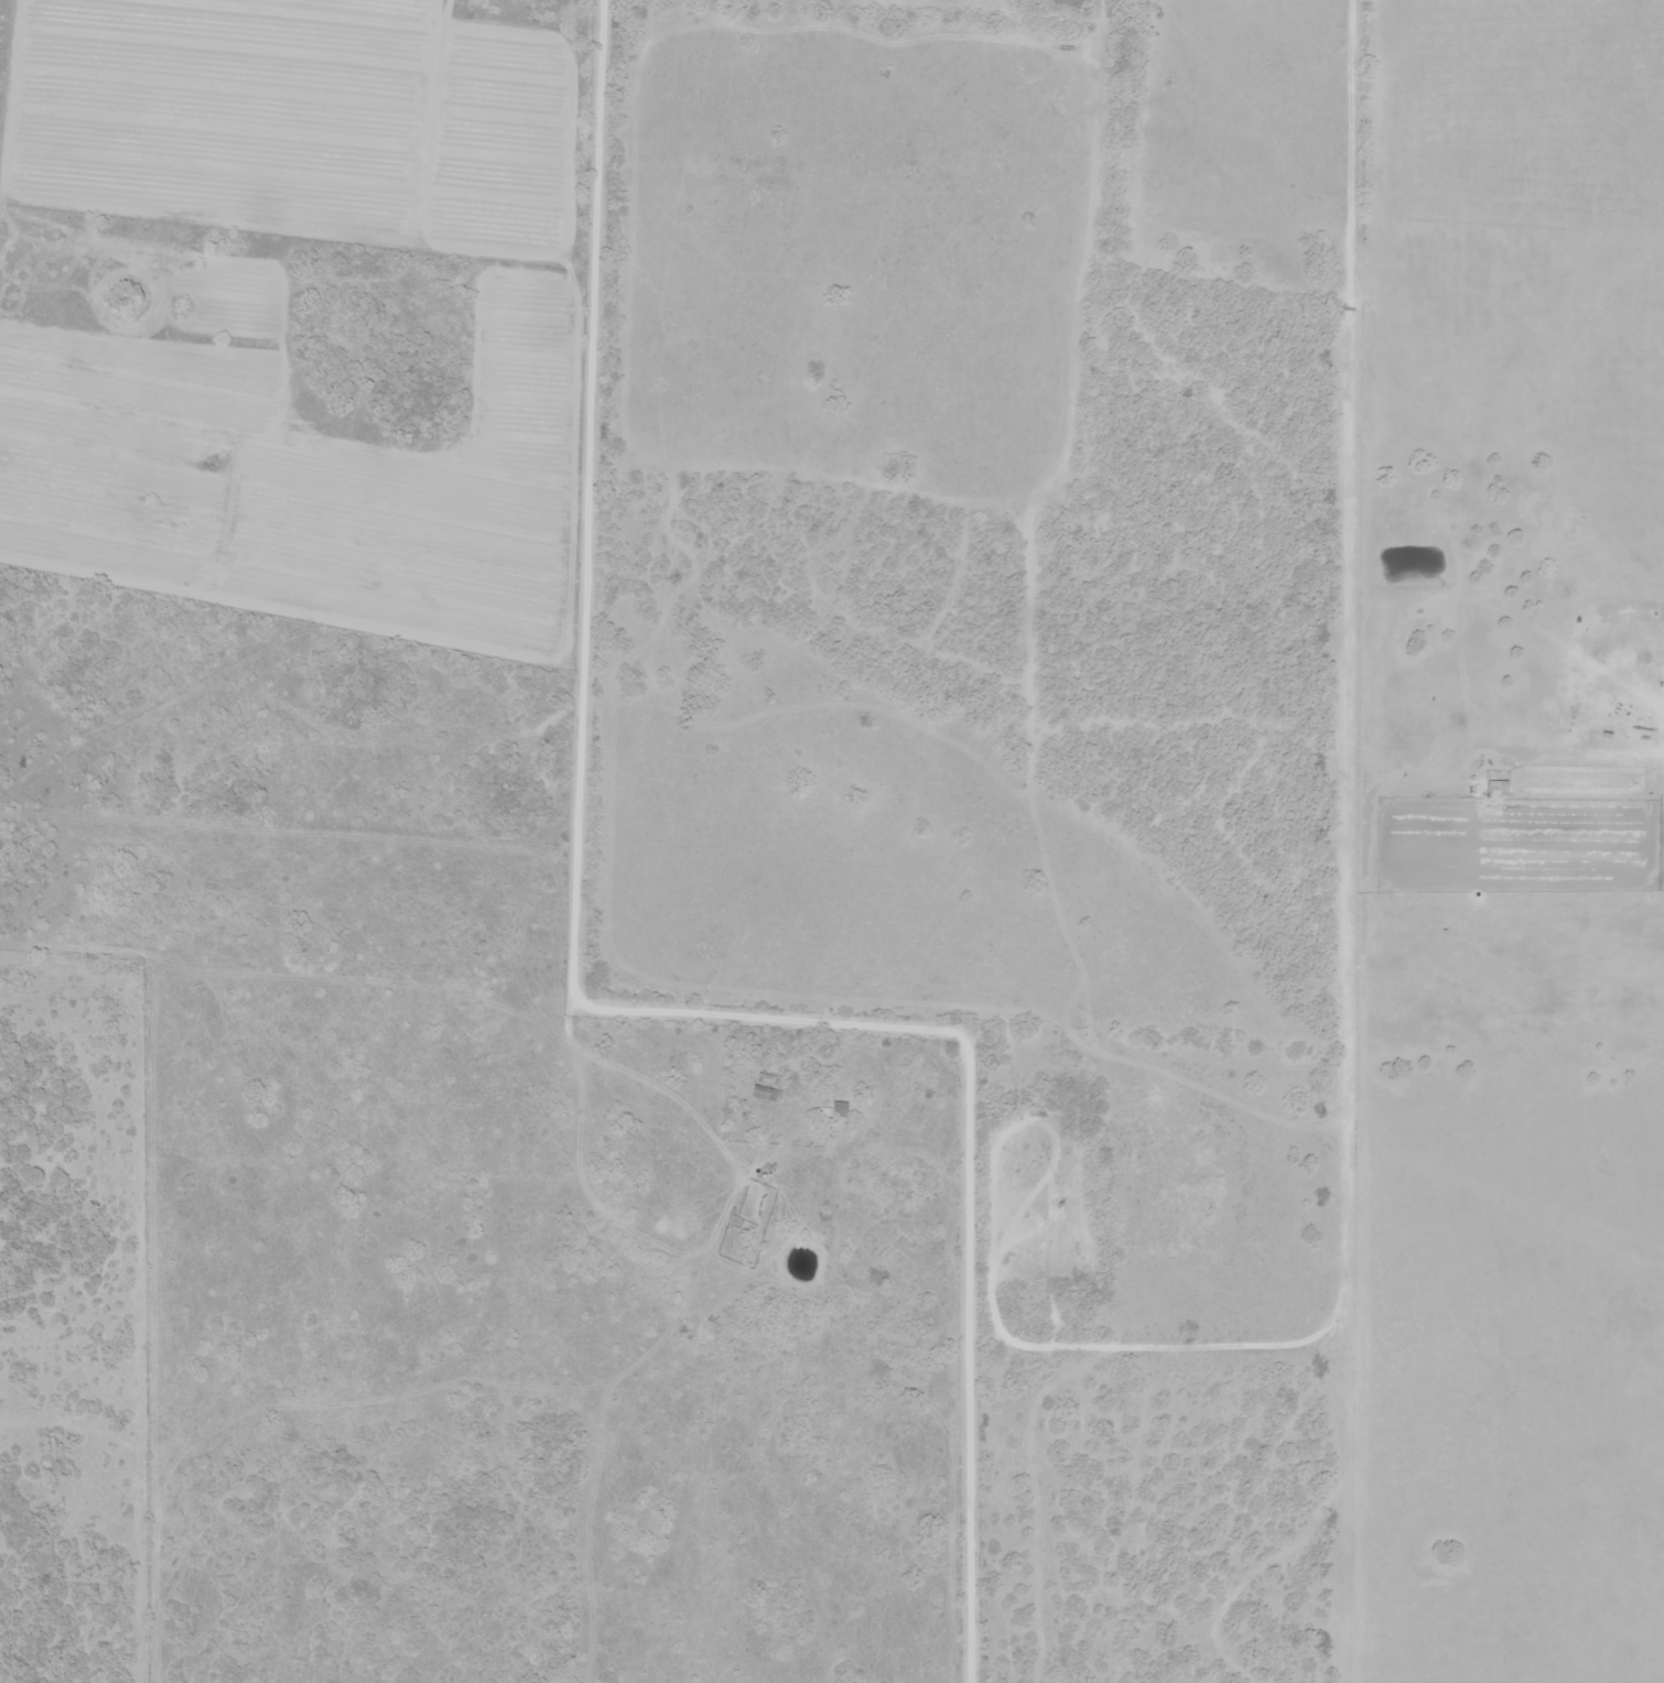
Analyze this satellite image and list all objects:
building: (1067, 2)
road: (526, 976)
building: (766, 1078)
building: (761, 1093)
building: (836, 1108)

